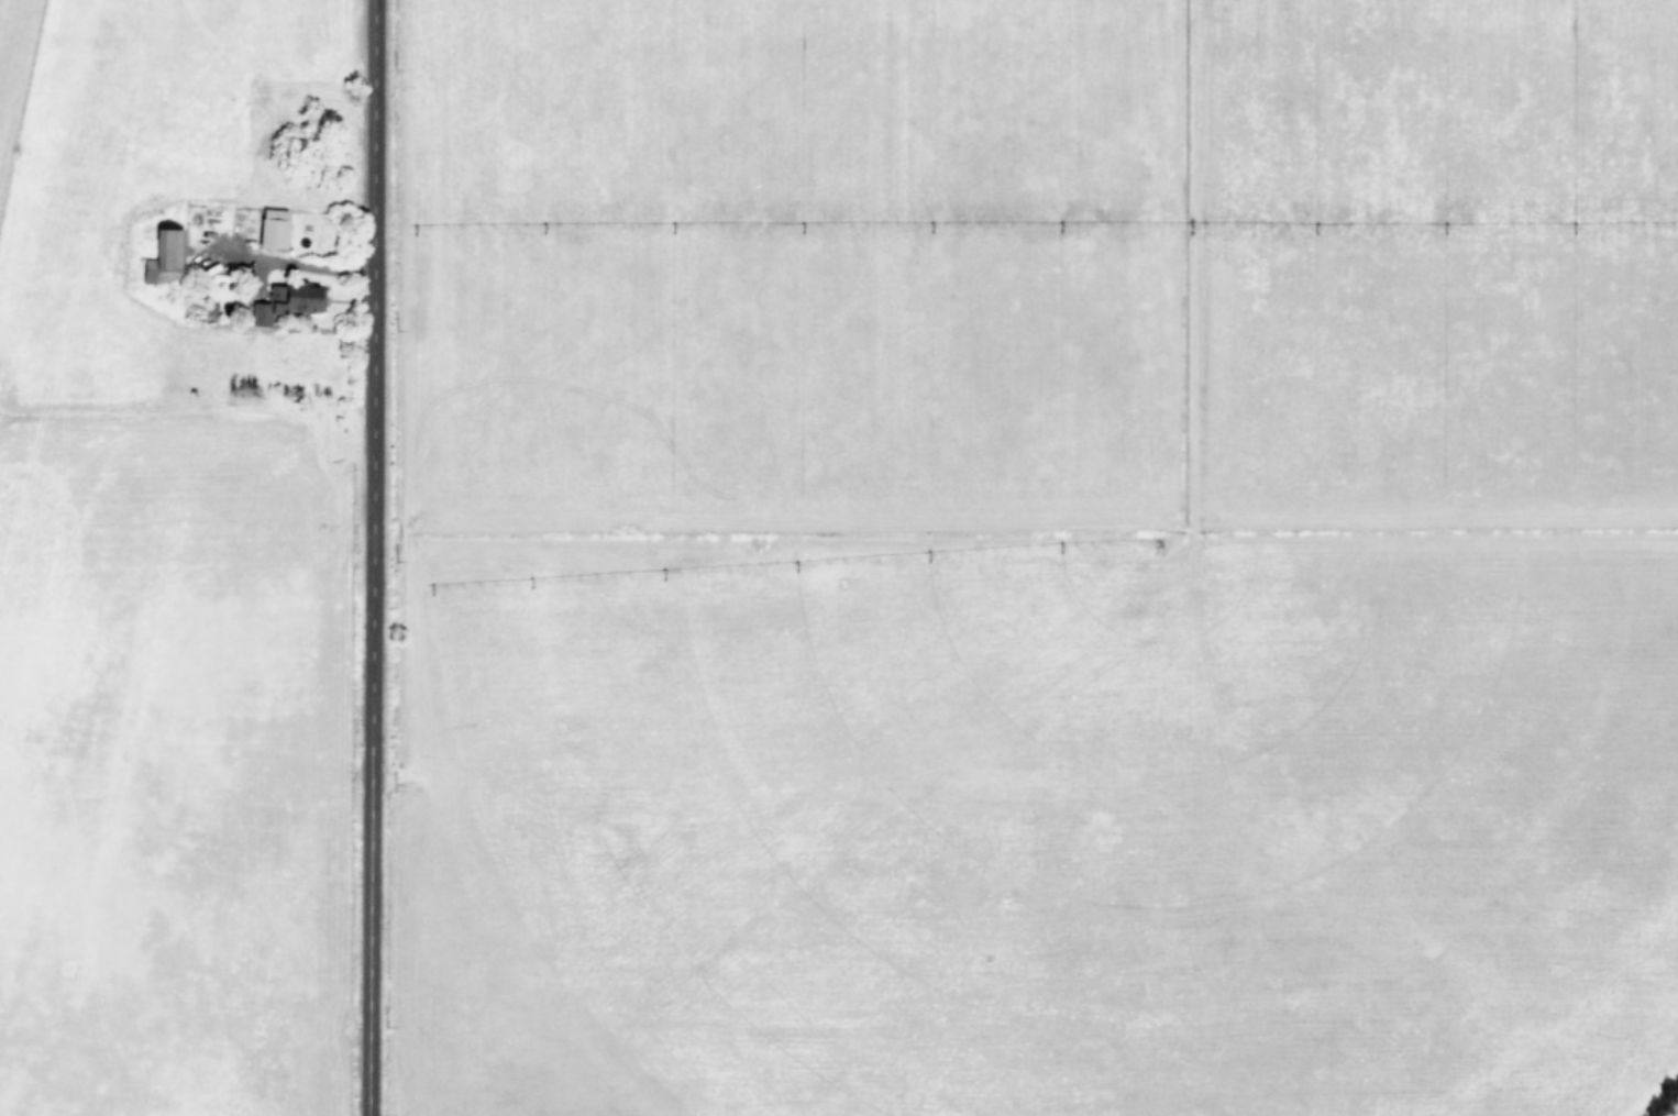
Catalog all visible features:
building: (273, 229)
building: (164, 258)
road: (307, 263)
building: (288, 299)
road: (368, 557)
crop: (839, 557)

